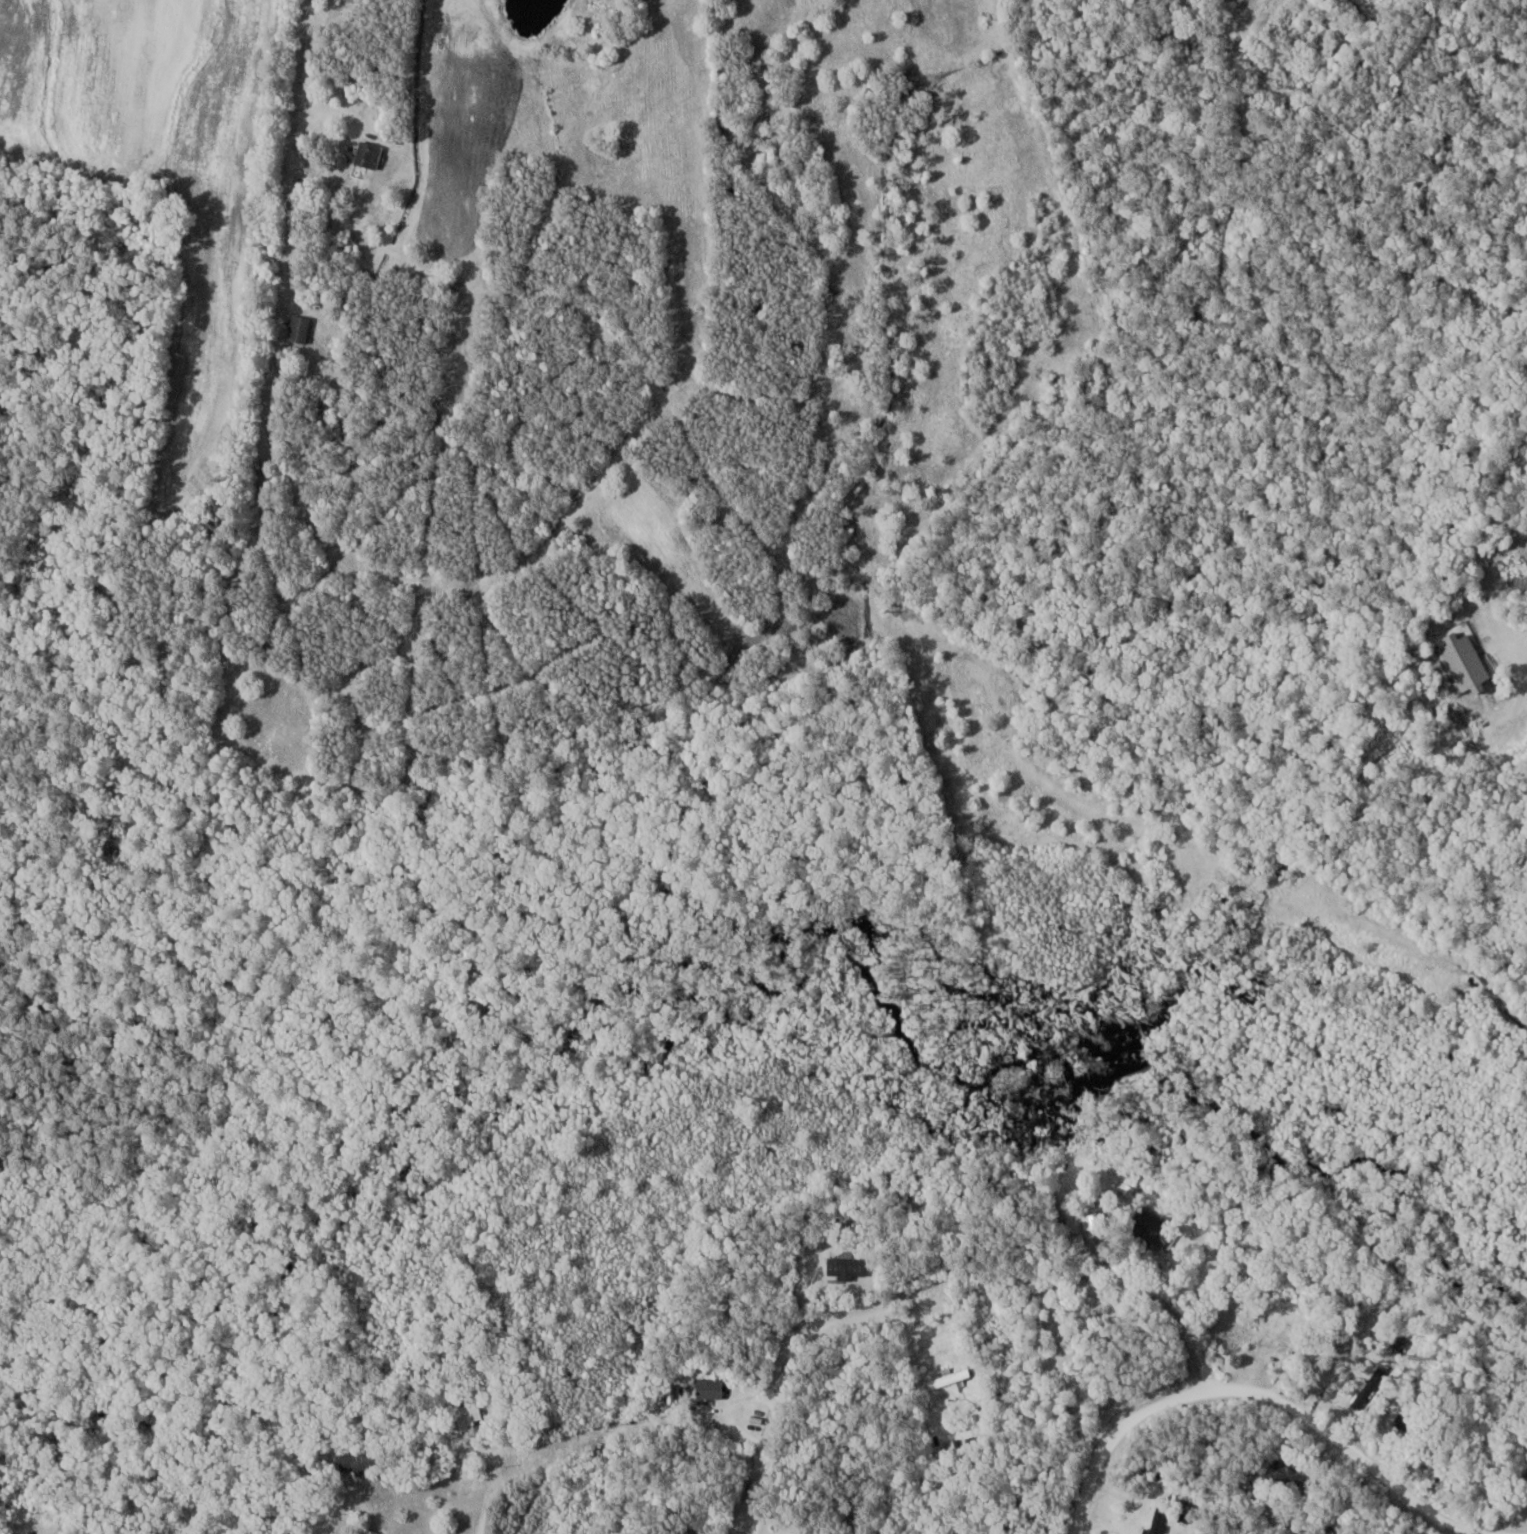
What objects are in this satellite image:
road: (1235, 15)
building: (1292, 88)
building: (369, 154)
building: (298, 327)
building: (1467, 662)
road: (1492, 683)
building: (1094, 1221)
building: (1153, 1230)
building: (851, 1268)
road: (1166, 1309)
building: (1269, 1329)
road: (846, 1333)
building: (950, 1377)
building: (710, 1388)
road: (1273, 1399)
building: (467, 1415)
building: (1410, 1422)
building: (1287, 1475)
road: (364, 1523)

